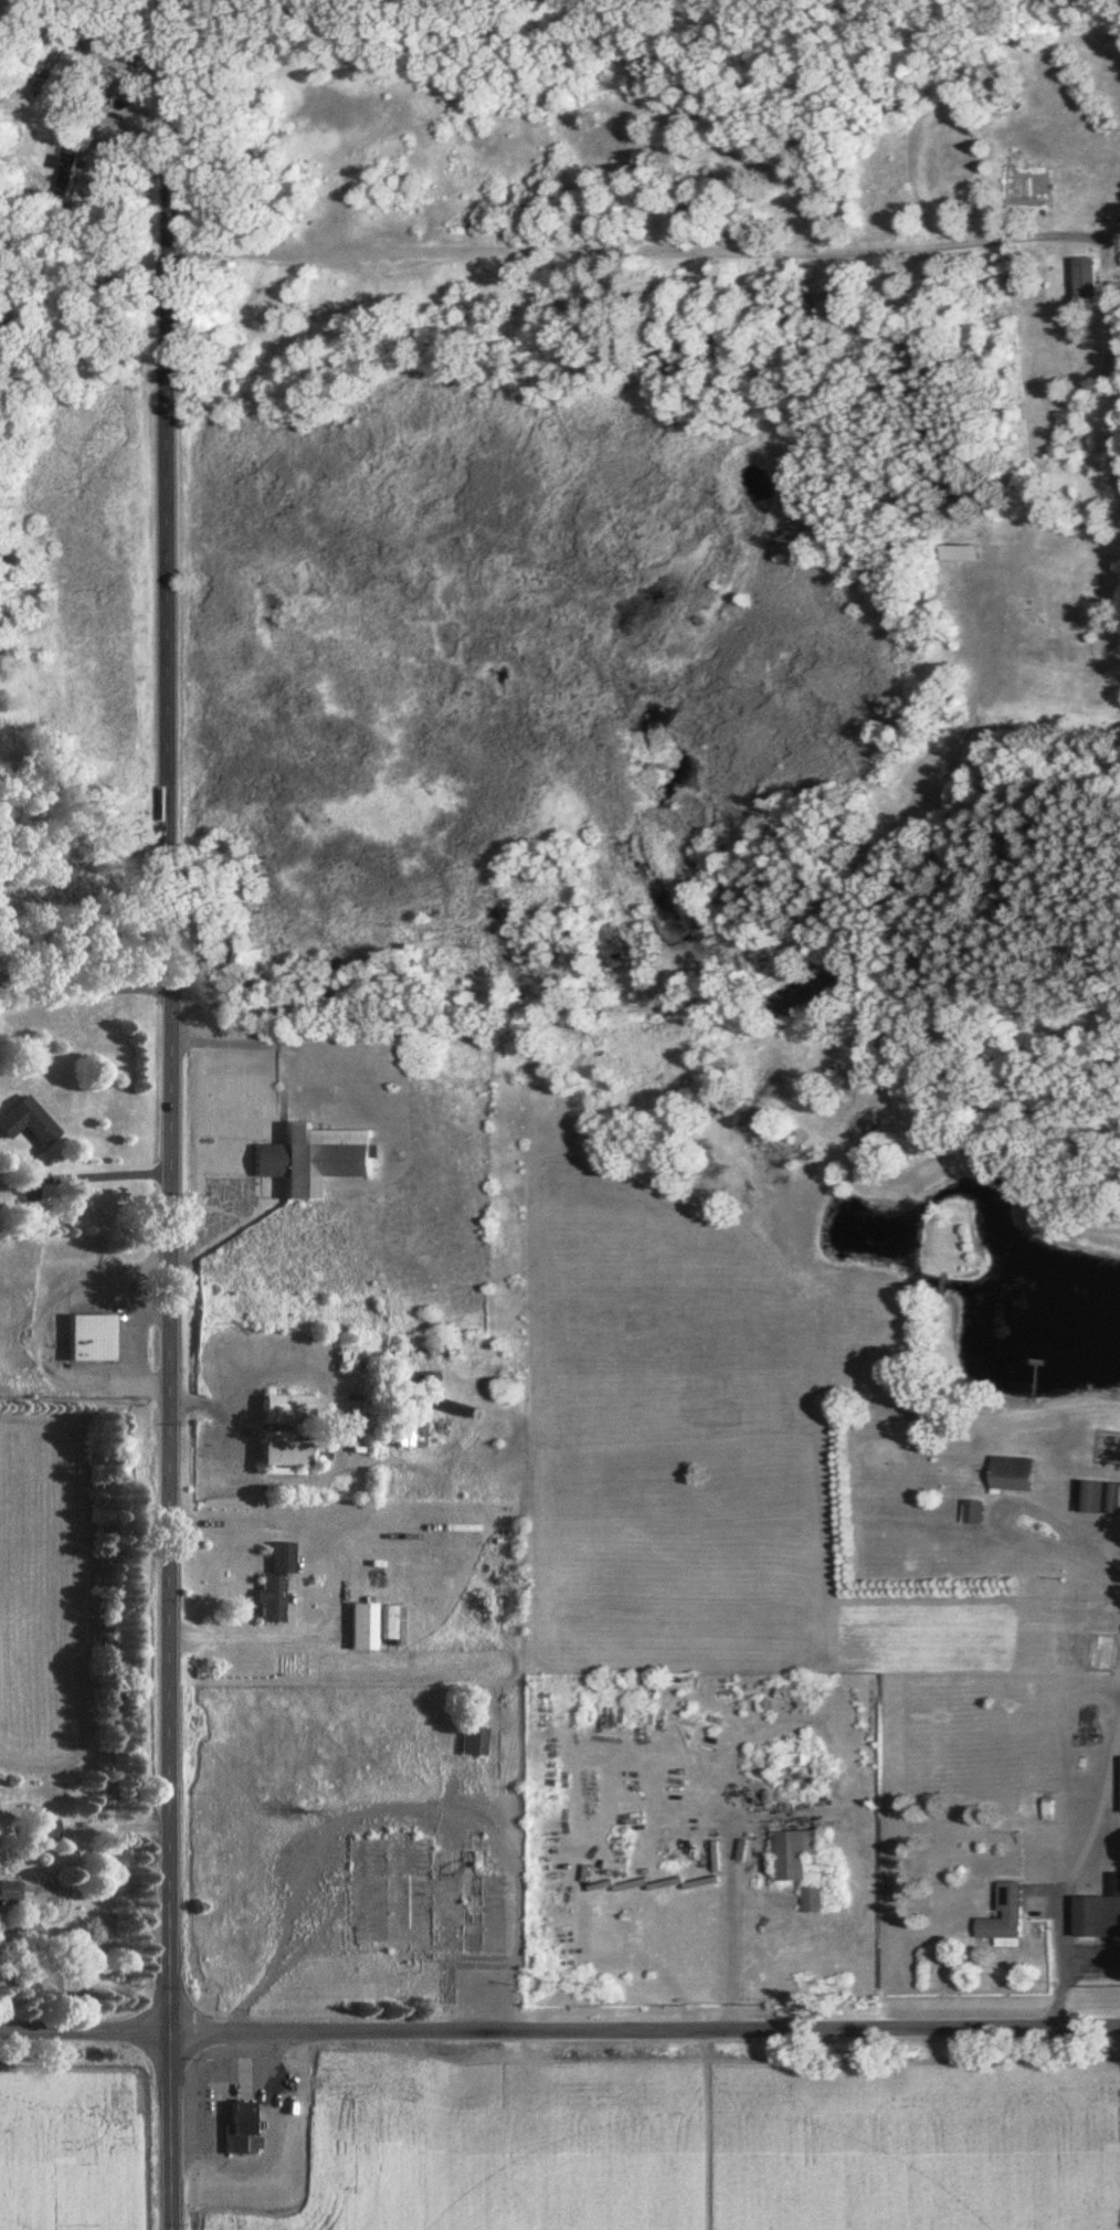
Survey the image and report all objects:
building: (84, 38)
road: (552, 258)
building: (1086, 279)
building: (960, 551)
road: (816, 936)
road: (84, 998)
road: (169, 1015)
building: (22, 1123)
building: (307, 1159)
road: (63, 1277)
building: (84, 1340)
road: (112, 1365)
road: (27, 1366)
building: (279, 1410)
building: (278, 1450)
building: (1008, 1475)
building: (1092, 1499)
road: (1064, 1513)
building: (970, 1514)
building: (273, 1600)
building: (363, 1628)
building: (1096, 1653)
building: (473, 1742)
building: (792, 1764)
building: (1119, 1785)
building: (38, 1831)
building: (796, 1864)
building: (8, 1896)
building: (1097, 1913)
building: (1001, 1920)
road: (645, 2030)
road: (86, 2031)
road: (223, 2046)
road: (200, 2063)
road: (266, 2065)
road: (190, 2090)
road: (214, 2095)
building: (237, 2128)
road: (172, 2129)

